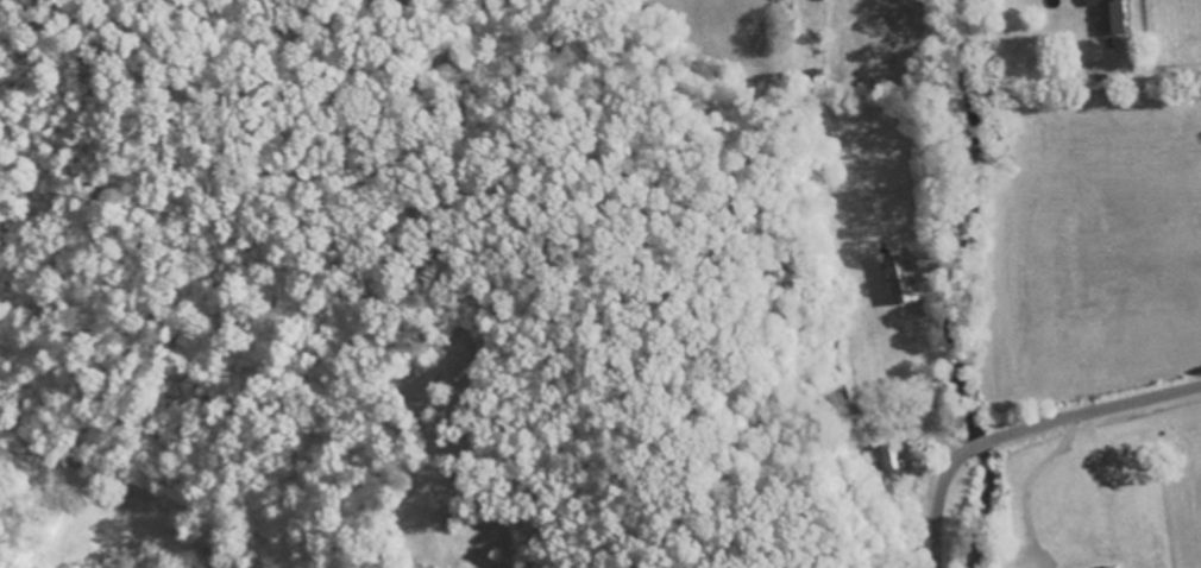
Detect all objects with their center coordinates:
building: (1115, 18)
building: (901, 283)
road: (1095, 411)
road: (981, 447)
road: (943, 506)
building: (1124, 567)

